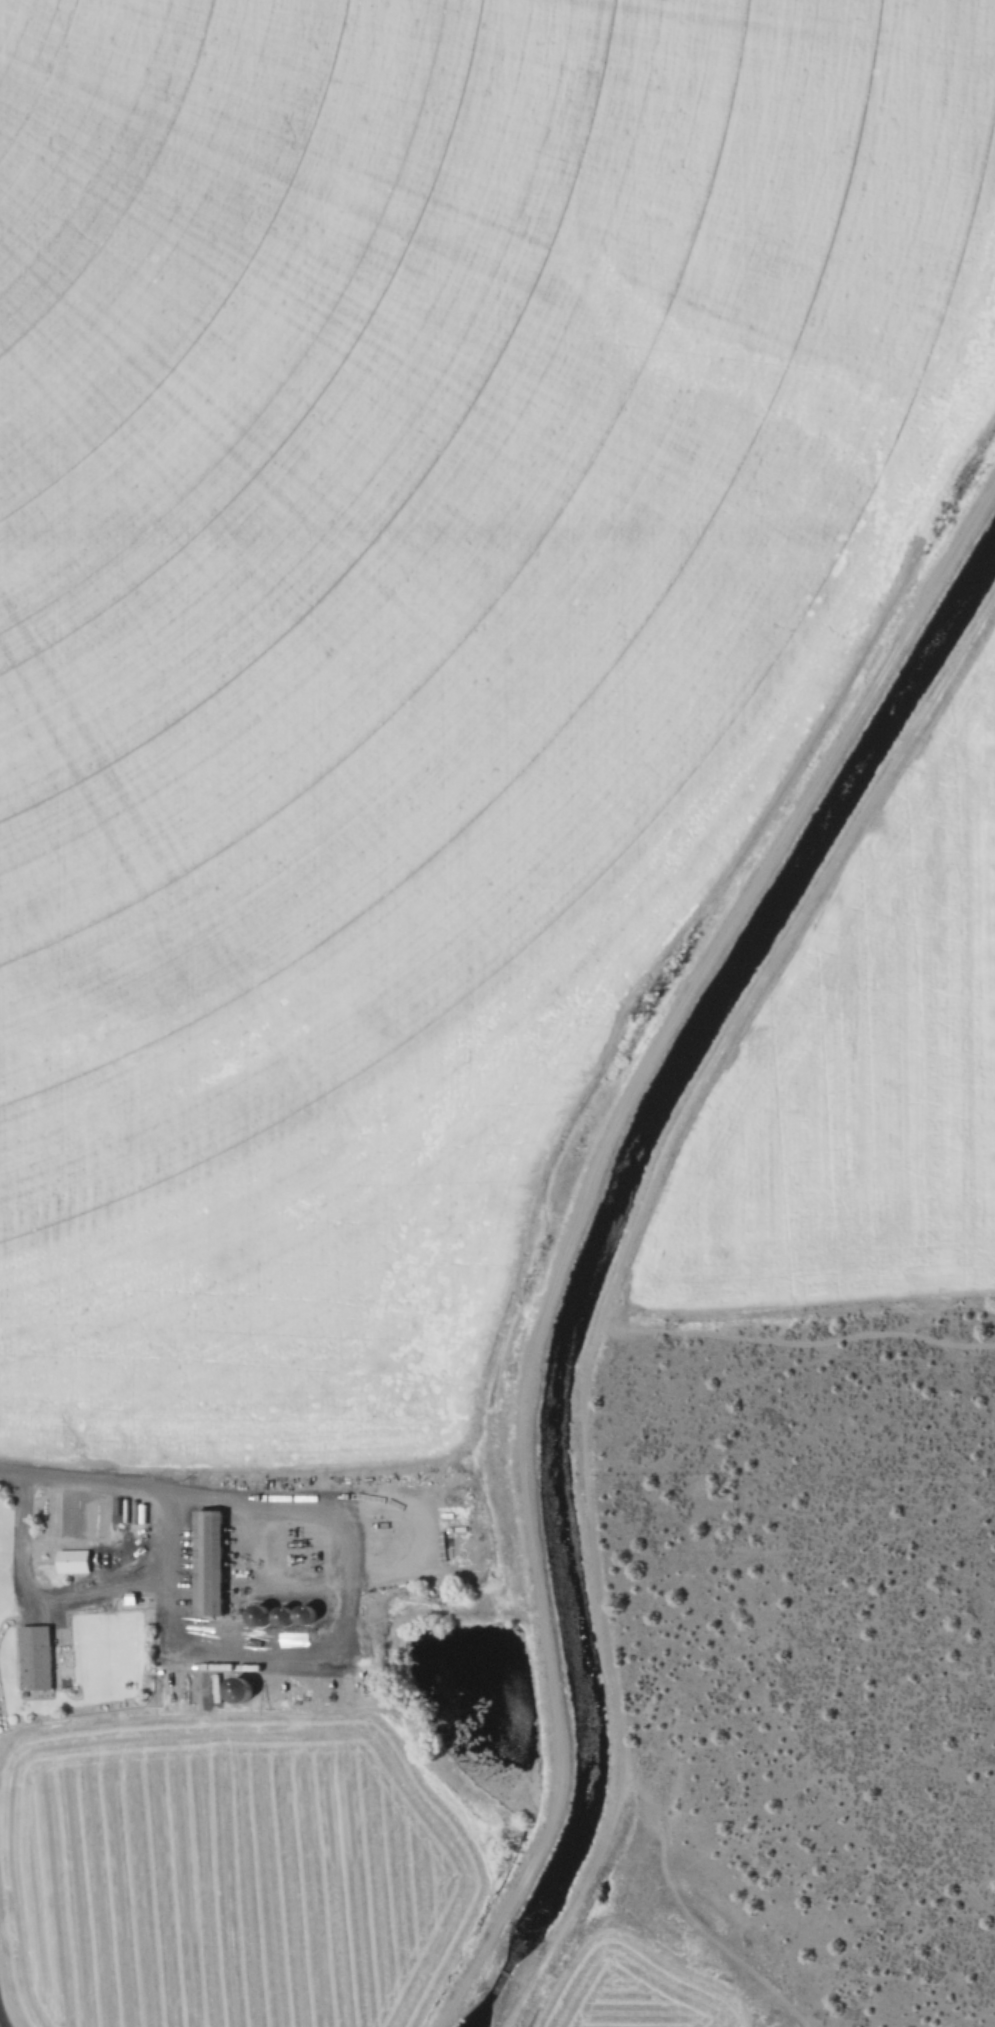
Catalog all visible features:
building: (70, 1562)
building: (204, 1562)
building: (31, 1657)
building: (233, 1688)
crop: (639, 1991)

